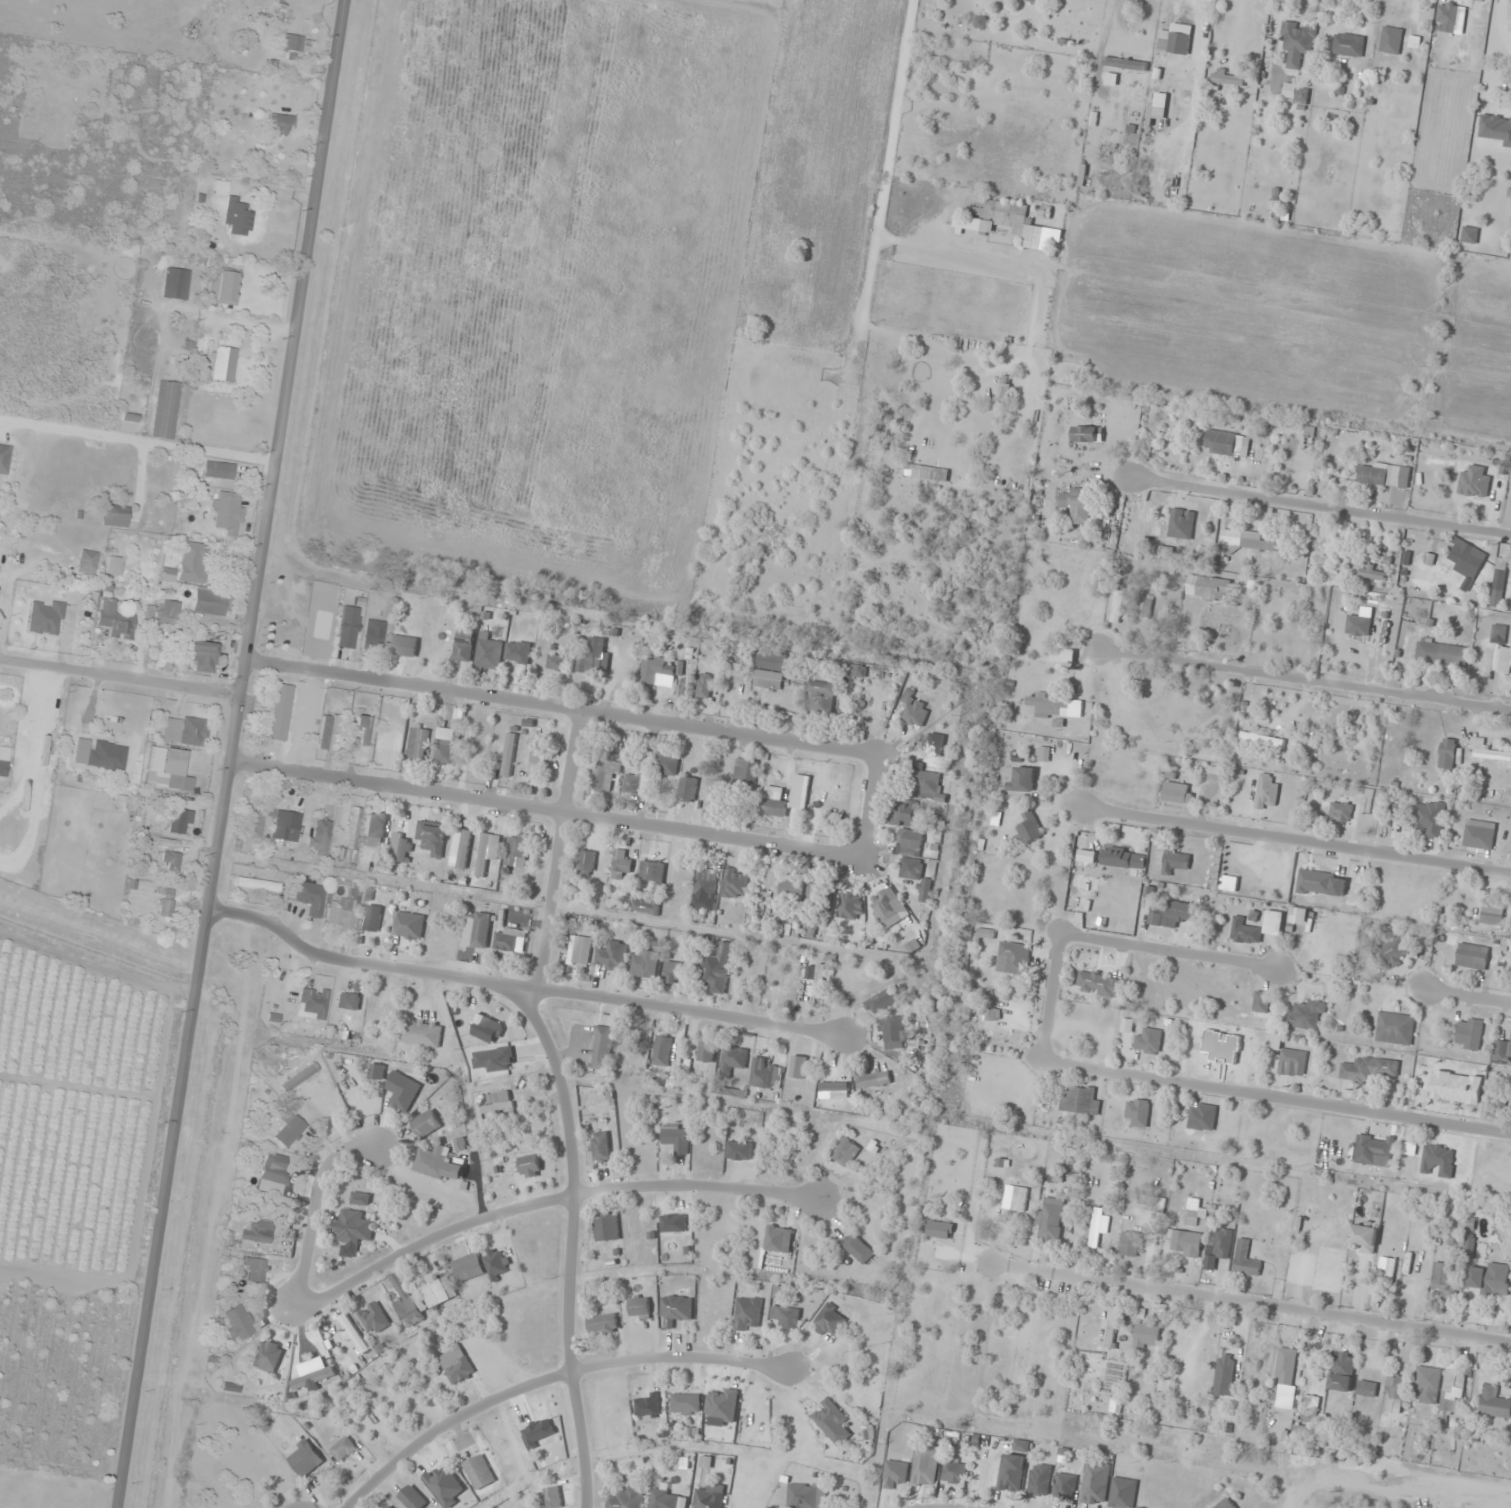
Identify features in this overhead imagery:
building: (1038, 0)
building: (980, 22)
road: (1237, 28)
building: (1175, 40)
building: (1391, 40)
building: (1453, 40)
building: (1296, 42)
building: (1348, 45)
building: (291, 46)
building: (1502, 46)
building: (931, 60)
building: (1125, 64)
building: (1228, 79)
building: (1295, 93)
building: (1160, 106)
building: (280, 124)
building: (1276, 210)
building: (238, 216)
building: (1004, 223)
building: (1470, 234)
building: (176, 284)
building: (226, 286)
building: (223, 363)
building: (165, 409)
building: (1087, 434)
road: (140, 439)
building: (1227, 444)
building: (4, 458)
building: (219, 470)
building: (1384, 475)
building: (1475, 482)
building: (1497, 495)
building: (1078, 504)
road: (1321, 509)
building: (228, 511)
building: (116, 516)
building: (1181, 524)
building: (1241, 543)
building: (1165, 552)
building: (1466, 560)
building: (88, 561)
building: (192, 562)
building: (114, 565)
building: (1372, 573)
building: (1499, 583)
building: (1212, 589)
building: (210, 603)
building: (1117, 607)
building: (1145, 608)
building: (163, 612)
building: (46, 617)
building: (115, 619)
building: (1369, 620)
building: (349, 627)
building: (1499, 632)
building: (374, 634)
building: (404, 646)
building: (463, 652)
building: (1442, 653)
building: (489, 654)
building: (202, 655)
building: (597, 657)
building: (1063, 657)
building: (1502, 660)
building: (556, 663)
building: (656, 670)
building: (857, 671)
building: (769, 672)
road: (121, 678)
road: (1305, 686)
building: (704, 687)
building: (821, 697)
building: (1055, 707)
road: (563, 709)
building: (280, 712)
building: (364, 728)
building: (185, 730)
building: (330, 732)
building: (1191, 737)
building: (1262, 740)
building: (418, 745)
building: (446, 746)
building: (1486, 750)
building: (935, 751)
building: (100, 754)
road: (233, 754)
building: (1044, 754)
building: (1447, 755)
building: (537, 757)
building: (4, 760)
building: (666, 764)
building: (746, 772)
building: (1216, 774)
building: (604, 775)
building: (1024, 779)
building: (176, 781)
building: (638, 781)
building: (928, 787)
building: (687, 790)
building: (800, 792)
building: (1267, 792)
building: (1177, 793)
building: (774, 801)
road: (870, 807)
road: (548, 811)
building: (1341, 812)
building: (1430, 819)
building: (179, 821)
building: (253, 825)
building: (286, 826)
building: (907, 827)
building: (1027, 828)
building: (373, 830)
building: (352, 836)
building: (319, 837)
building: (1479, 838)
building: (432, 839)
road: (1296, 840)
building: (401, 848)
building: (517, 851)
building: (487, 852)
building: (1116, 858)
building: (170, 860)
building: (587, 861)
building: (1175, 861)
building: (620, 865)
building: (916, 875)
building: (705, 883)
building: (1315, 883)
building: (257, 884)
building: (734, 884)
building: (790, 888)
building: (658, 890)
building: (311, 897)
building: (815, 898)
building: (166, 903)
building: (851, 906)
building: (887, 907)
building: (1173, 914)
building: (1299, 916)
building: (1491, 918)
building: (339, 919)
building: (370, 922)
building: (408, 926)
building: (477, 930)
building: (1245, 932)
building: (505, 941)
building: (579, 951)
building: (1392, 952)
building: (612, 956)
building: (1472, 957)
building: (1014, 959)
building: (647, 964)
building: (671, 972)
building: (715, 973)
road: (1288, 973)
building: (786, 977)
building: (1099, 984)
road: (520, 986)
building: (881, 1000)
building: (348, 1001)
building: (313, 1003)
building: (1261, 1003)
building: (992, 1014)
building: (1306, 1016)
building: (1127, 1027)
building: (1395, 1029)
building: (420, 1033)
building: (893, 1033)
building: (1469, 1034)
building: (1149, 1042)
building: (632, 1044)
building: (1222, 1047)
building: (602, 1048)
building: (1502, 1050)
building: (661, 1051)
building: (705, 1053)
building: (1288, 1058)
building: (733, 1059)
building: (1368, 1070)
building: (761, 1074)
building: (873, 1080)
building: (298, 1086)
building: (1456, 1087)
road: (1219, 1088)
building: (402, 1091)
building: (1079, 1101)
building: (498, 1102)
road: (565, 1102)
building: (1137, 1113)
building: (1202, 1117)
building: (426, 1124)
building: (290, 1131)
building: (675, 1138)
building: (601, 1147)
building: (1374, 1149)
building: (845, 1154)
building: (438, 1164)
building: (274, 1167)
building: (530, 1167)
building: (360, 1198)
building: (1017, 1199)
road: (545, 1202)
building: (1151, 1204)
building: (1194, 1212)
road: (314, 1213)
building: (1051, 1222)
building: (673, 1223)
building: (607, 1226)
building: (1096, 1227)
building: (353, 1228)
building: (257, 1231)
building: (939, 1231)
building: (629, 1237)
building: (1364, 1238)
building: (778, 1239)
building: (1184, 1241)
building: (1220, 1243)
building: (1130, 1244)
building: (1245, 1260)
building: (496, 1265)
building: (467, 1268)
building: (255, 1269)
building: (1442, 1275)
building: (1490, 1280)
building: (435, 1294)
road: (1251, 1302)
building: (405, 1303)
building: (640, 1308)
building: (675, 1310)
building: (747, 1314)
building: (786, 1317)
building: (373, 1319)
building: (829, 1321)
building: (238, 1323)
building: (603, 1325)
building: (353, 1334)
building: (1146, 1337)
building: (267, 1356)
road: (684, 1358)
building: (455, 1365)
building: (1341, 1371)
building: (1225, 1377)
building: (313, 1378)
building: (1284, 1380)
building: (1427, 1385)
building: (1394, 1388)
building: (1451, 1392)
building: (1366, 1393)
building: (1494, 1403)
building: (685, 1404)
building: (721, 1404)
building: (649, 1405)
building: (1308, 1409)
building: (831, 1421)
road: (450, 1424)
building: (1021, 1446)
building: (343, 1449)
building: (304, 1459)
building: (925, 1466)
building: (478, 1472)
building: (954, 1472)
building: (894, 1474)
building: (1010, 1476)
building: (1040, 1480)
building: (1095, 1483)
building: (1065, 1486)
building: (1122, 1493)
building: (807, 1496)
building: (411, 1498)
building: (627, 1498)
building: (707, 1499)
building: (1225, 1504)
building: (389, 1506)

